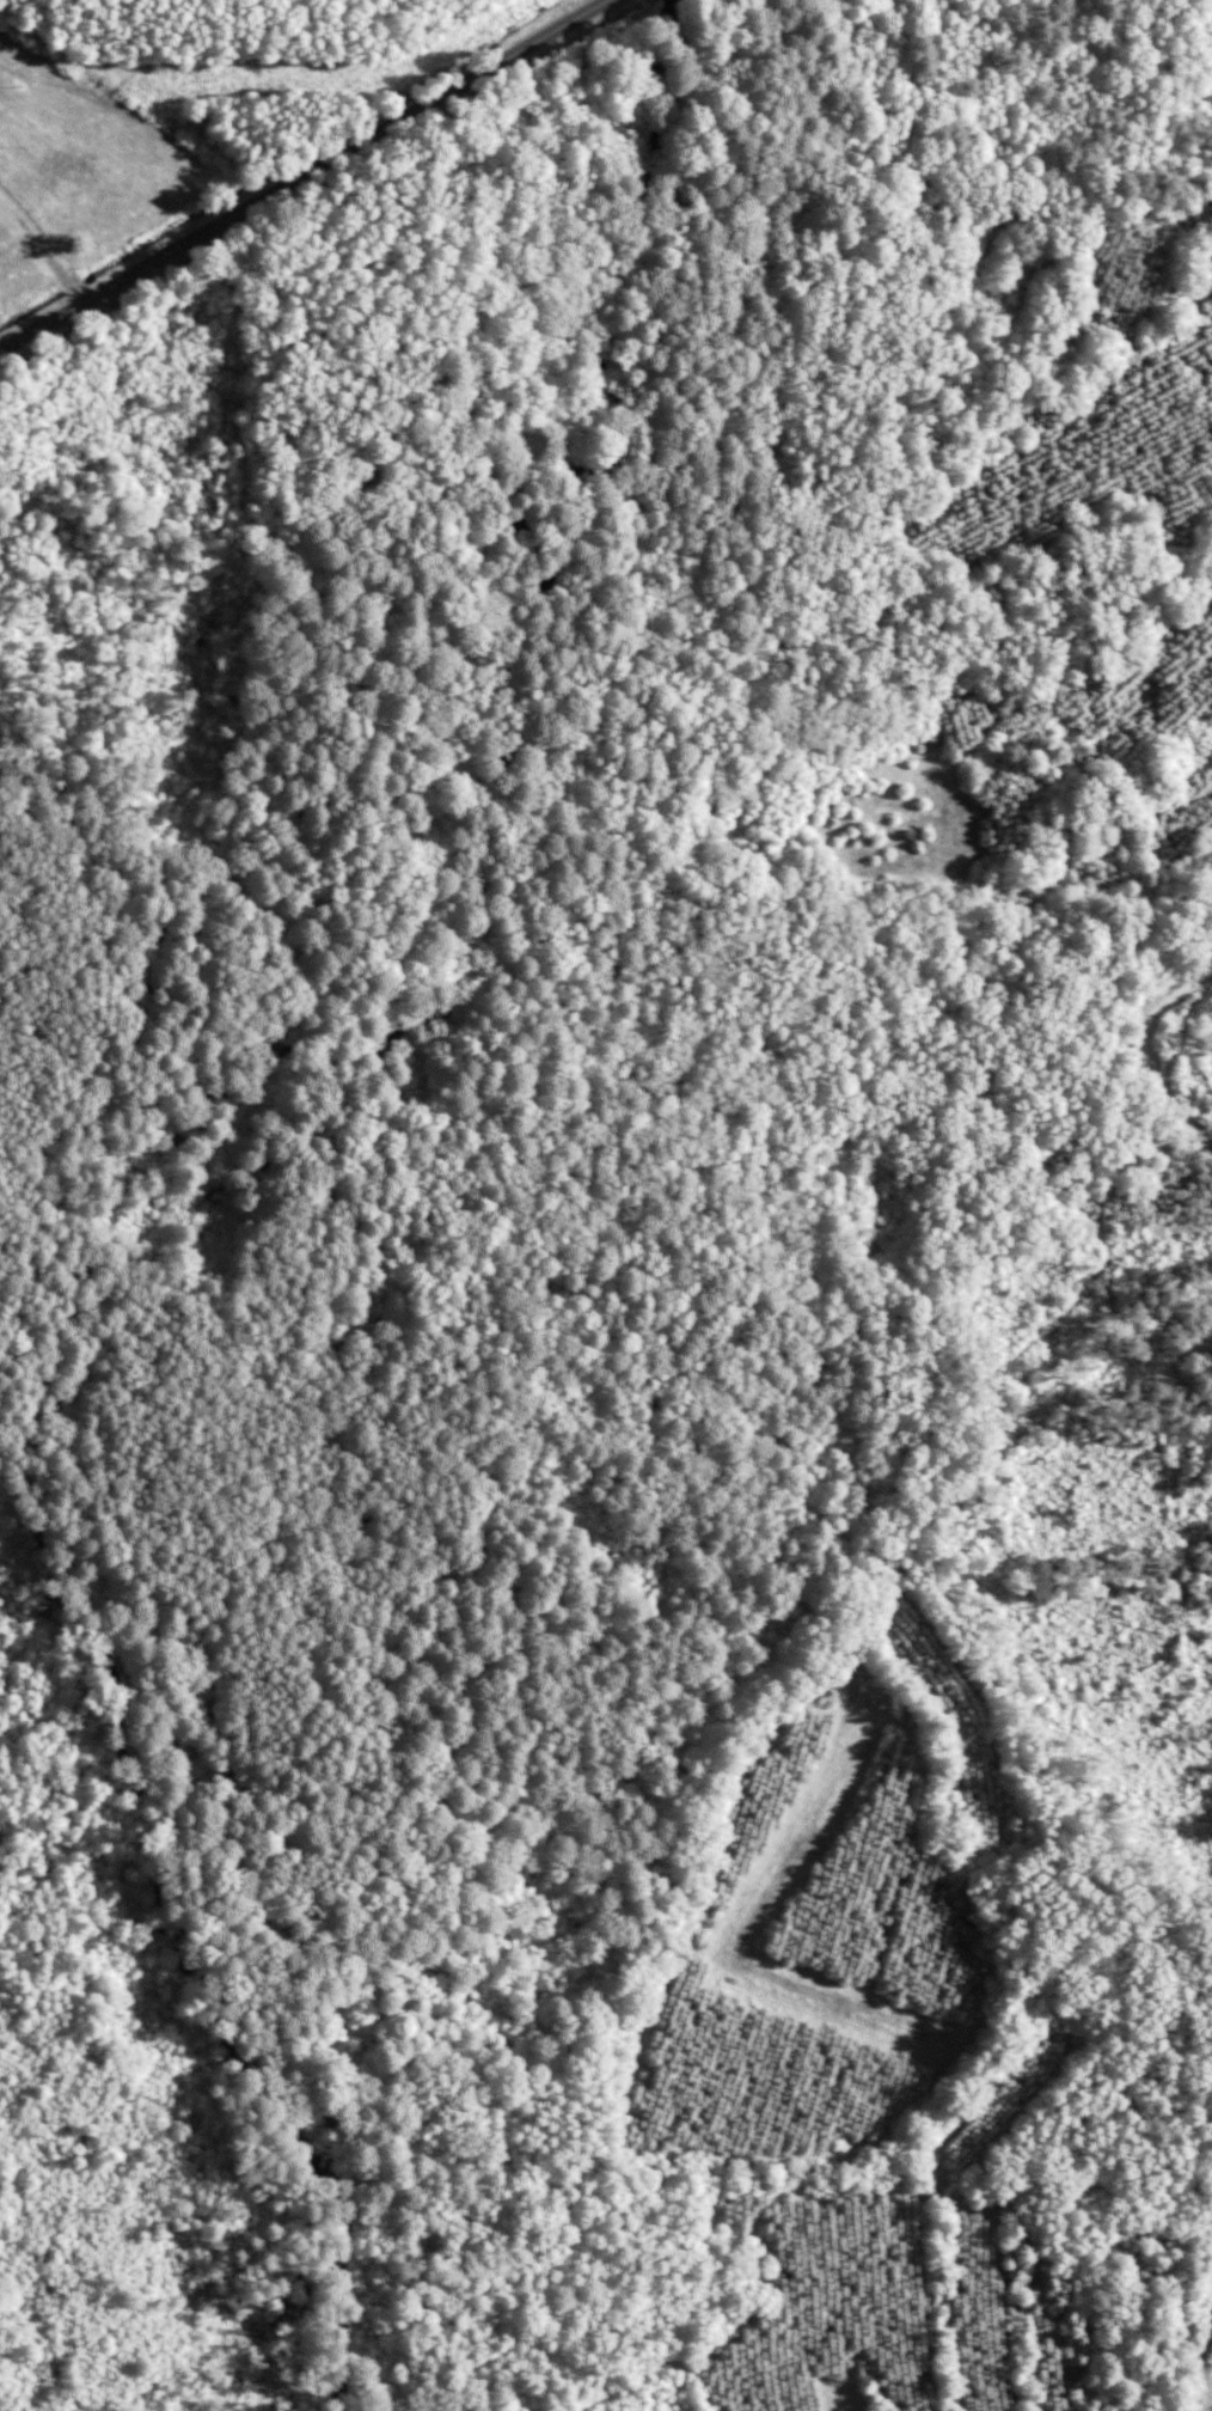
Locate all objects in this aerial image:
road: (301, 175)

